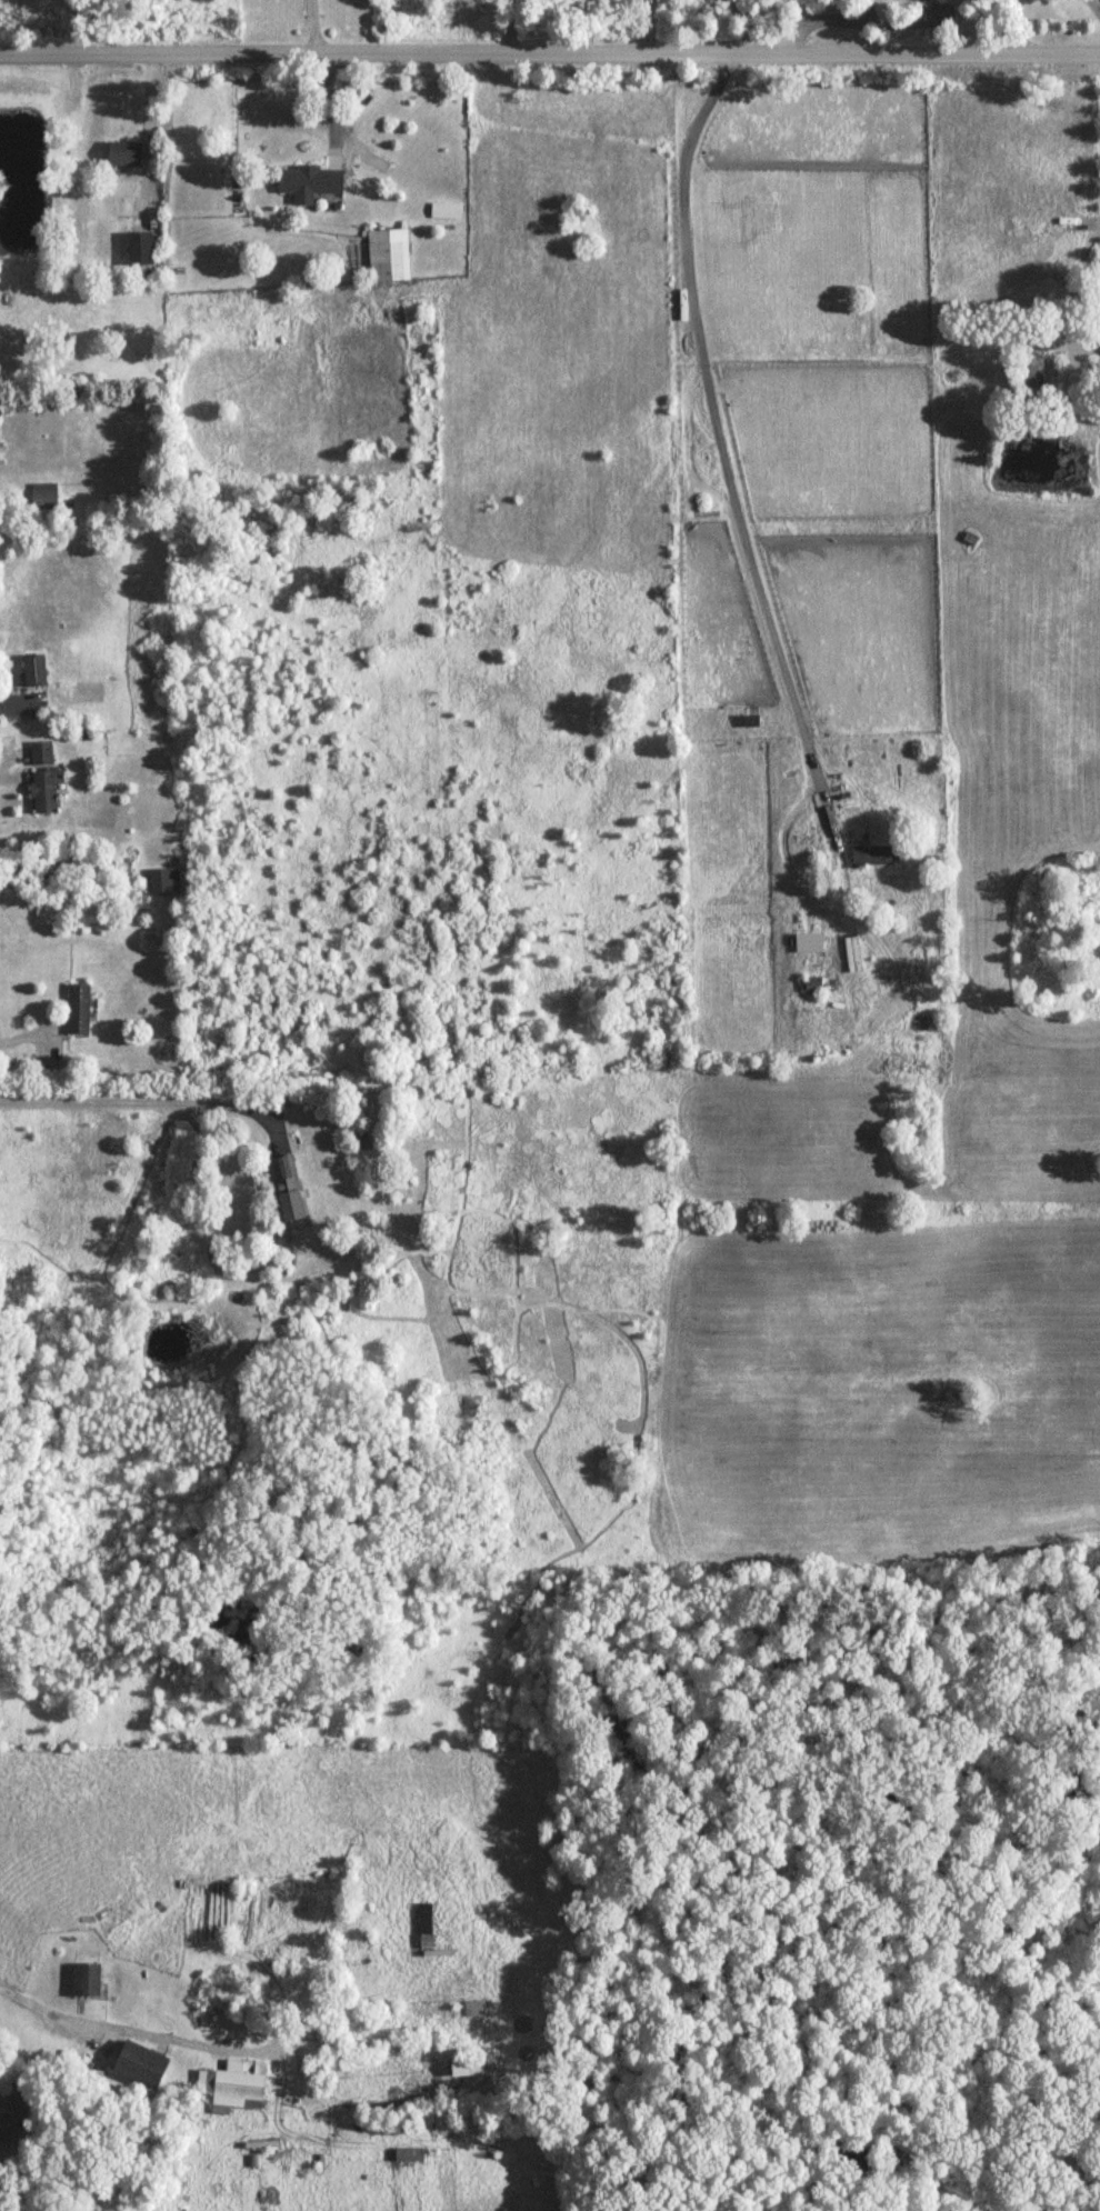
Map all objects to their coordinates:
road: (844, 17)
road: (313, 29)
road: (549, 59)
building: (123, 156)
building: (308, 184)
building: (140, 250)
building: (388, 257)
building: (1029, 371)
road: (720, 437)
building: (43, 501)
building: (33, 671)
road: (16, 701)
building: (40, 754)
road: (4, 759)
building: (43, 793)
building: (874, 858)
building: (163, 883)
building: (809, 987)
building: (77, 1012)
road: (22, 1040)
road: (133, 1100)
building: (286, 1190)
building: (427, 1935)
building: (83, 1981)
road: (31, 2007)
building: (473, 2010)
building: (139, 2065)
building: (464, 2069)
building: (232, 2087)
building: (409, 2157)

